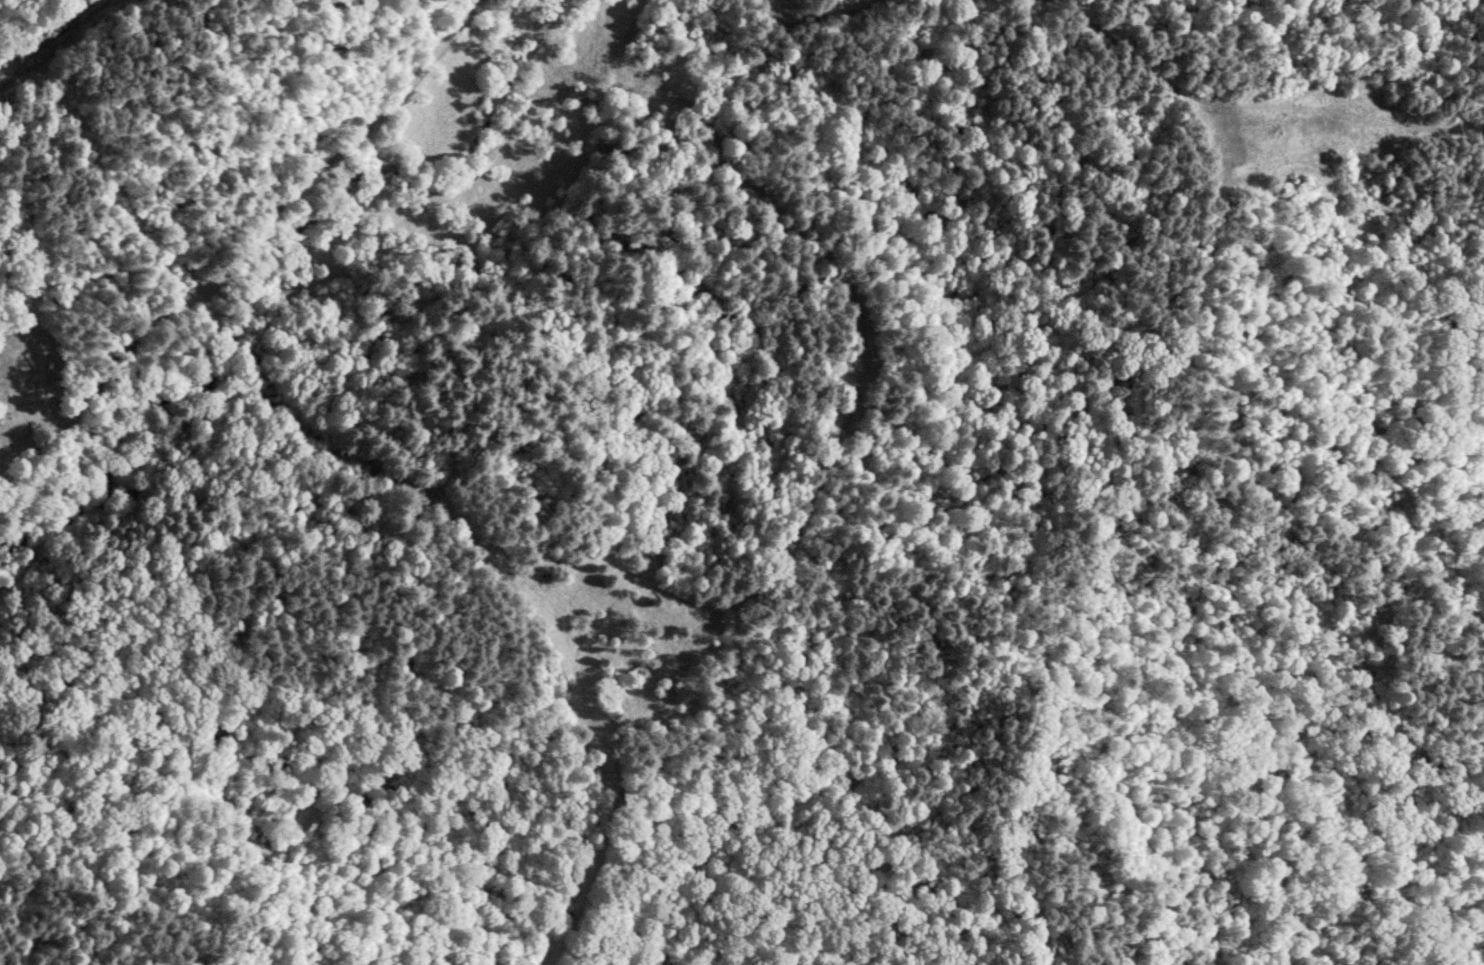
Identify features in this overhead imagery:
road: (231, 240)

